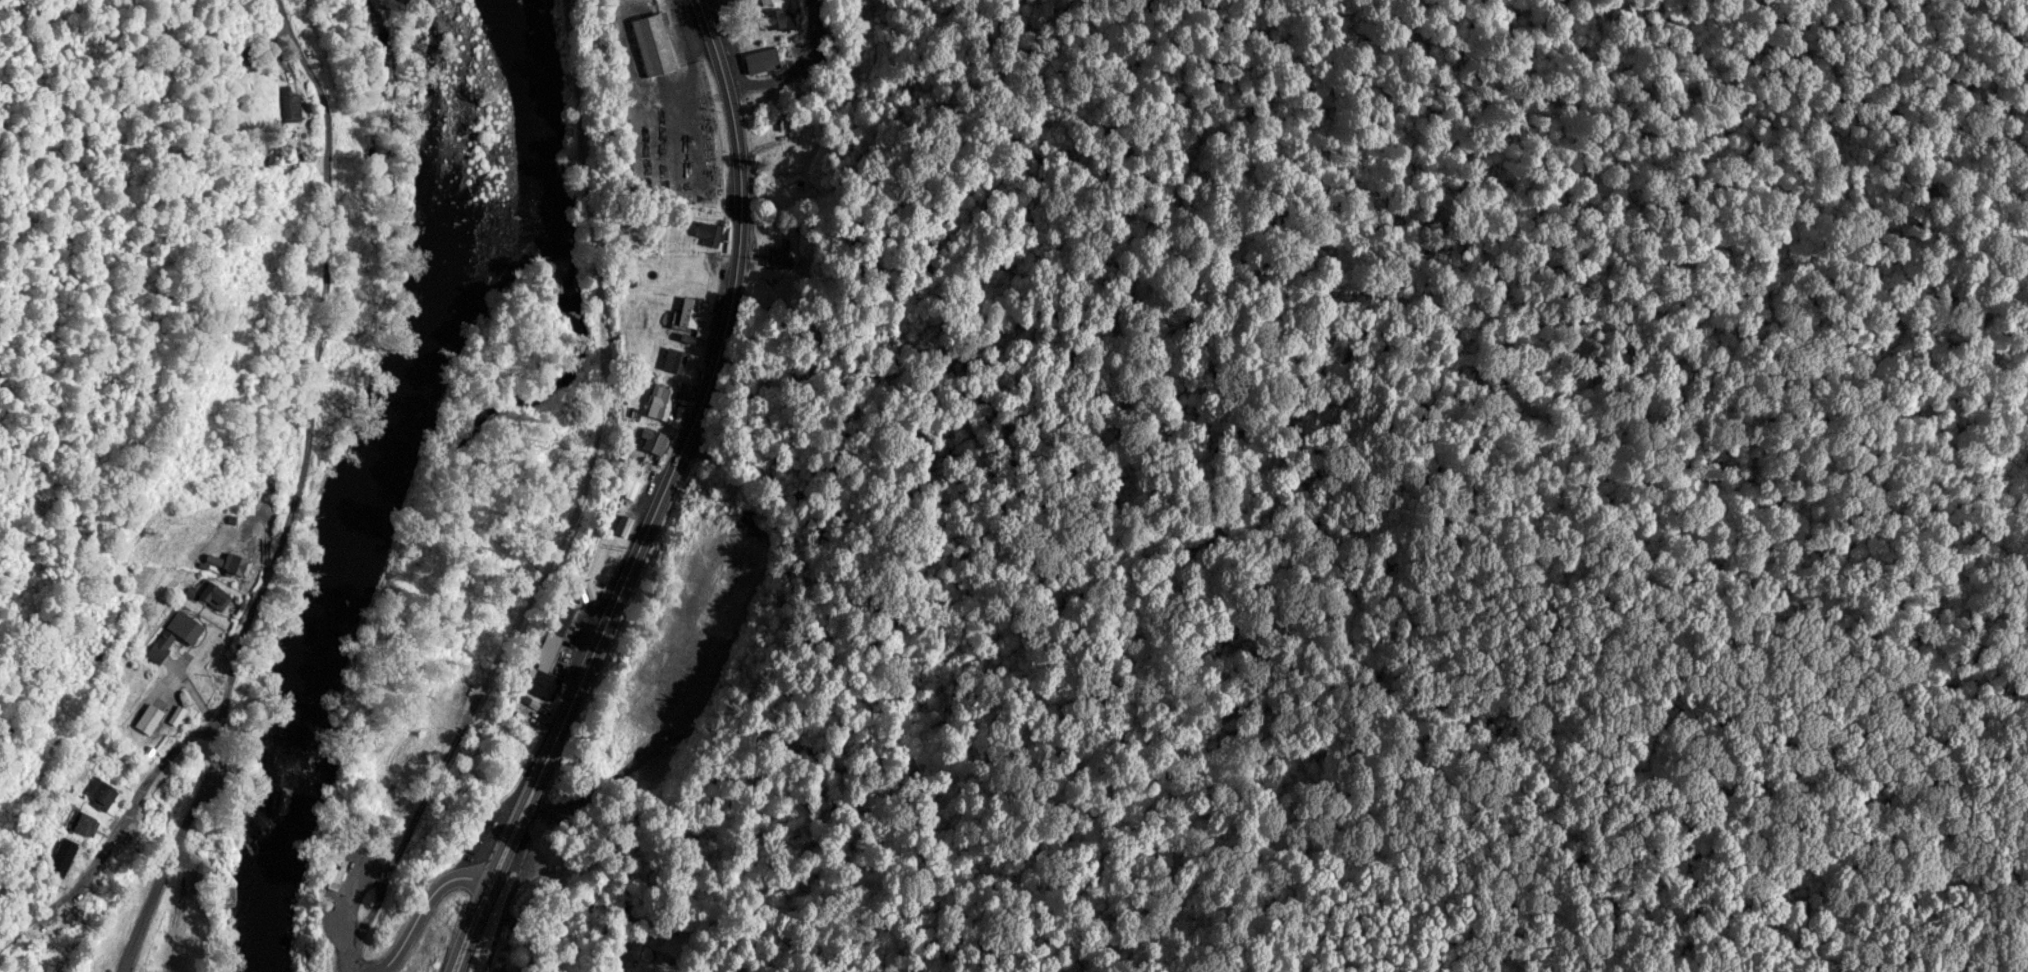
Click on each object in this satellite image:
building: (658, 42)
building: (764, 57)
road: (793, 65)
building: (711, 230)
building: (777, 253)
building: (665, 270)
building: (694, 309)
building: (676, 357)
building: (664, 399)
building: (656, 438)
river: (365, 462)
building: (257, 489)
road: (299, 494)
road: (665, 500)
road: (579, 511)
building: (236, 558)
building: (732, 580)
building: (219, 590)
building: (190, 622)
building: (553, 652)
building: (538, 715)
building: (105, 787)
building: (87, 818)
building: (68, 856)
building: (336, 875)
road: (389, 955)

